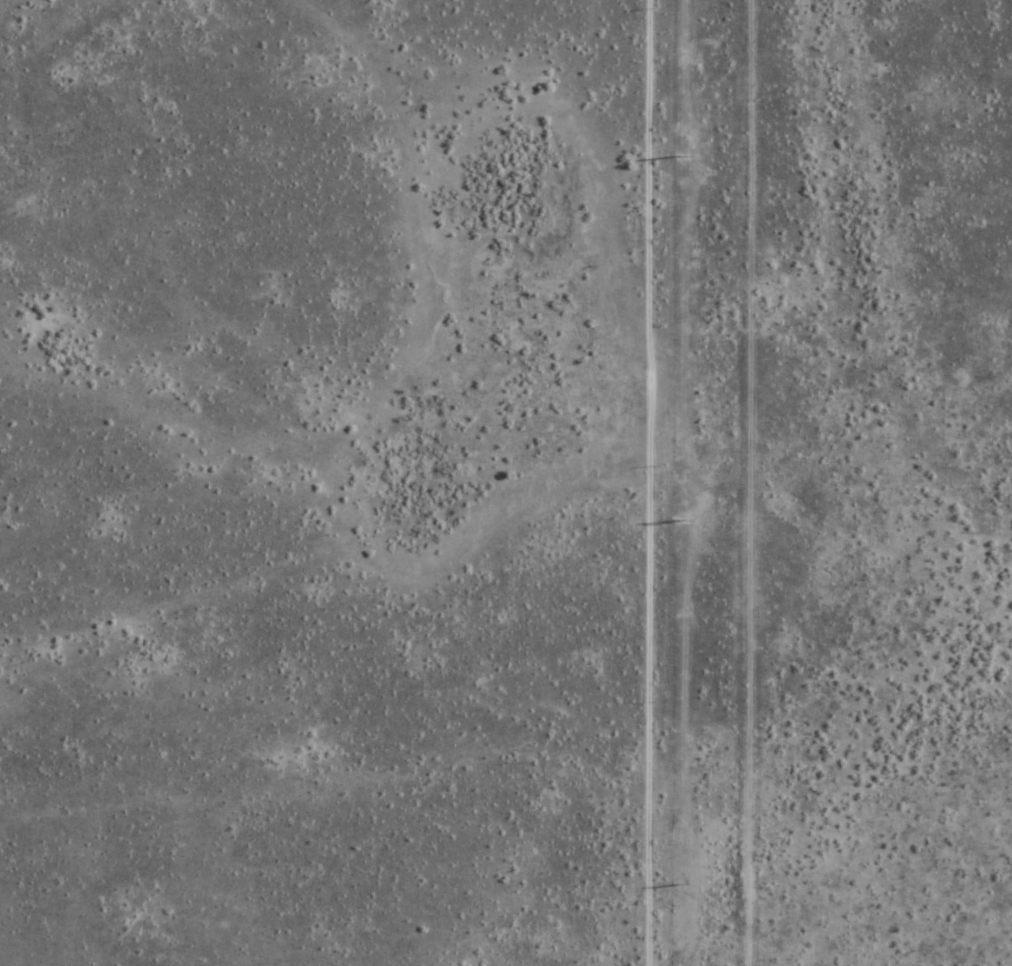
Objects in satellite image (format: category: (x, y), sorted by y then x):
power tower: (679, 156)
power tower: (678, 520)
power tower: (680, 883)

